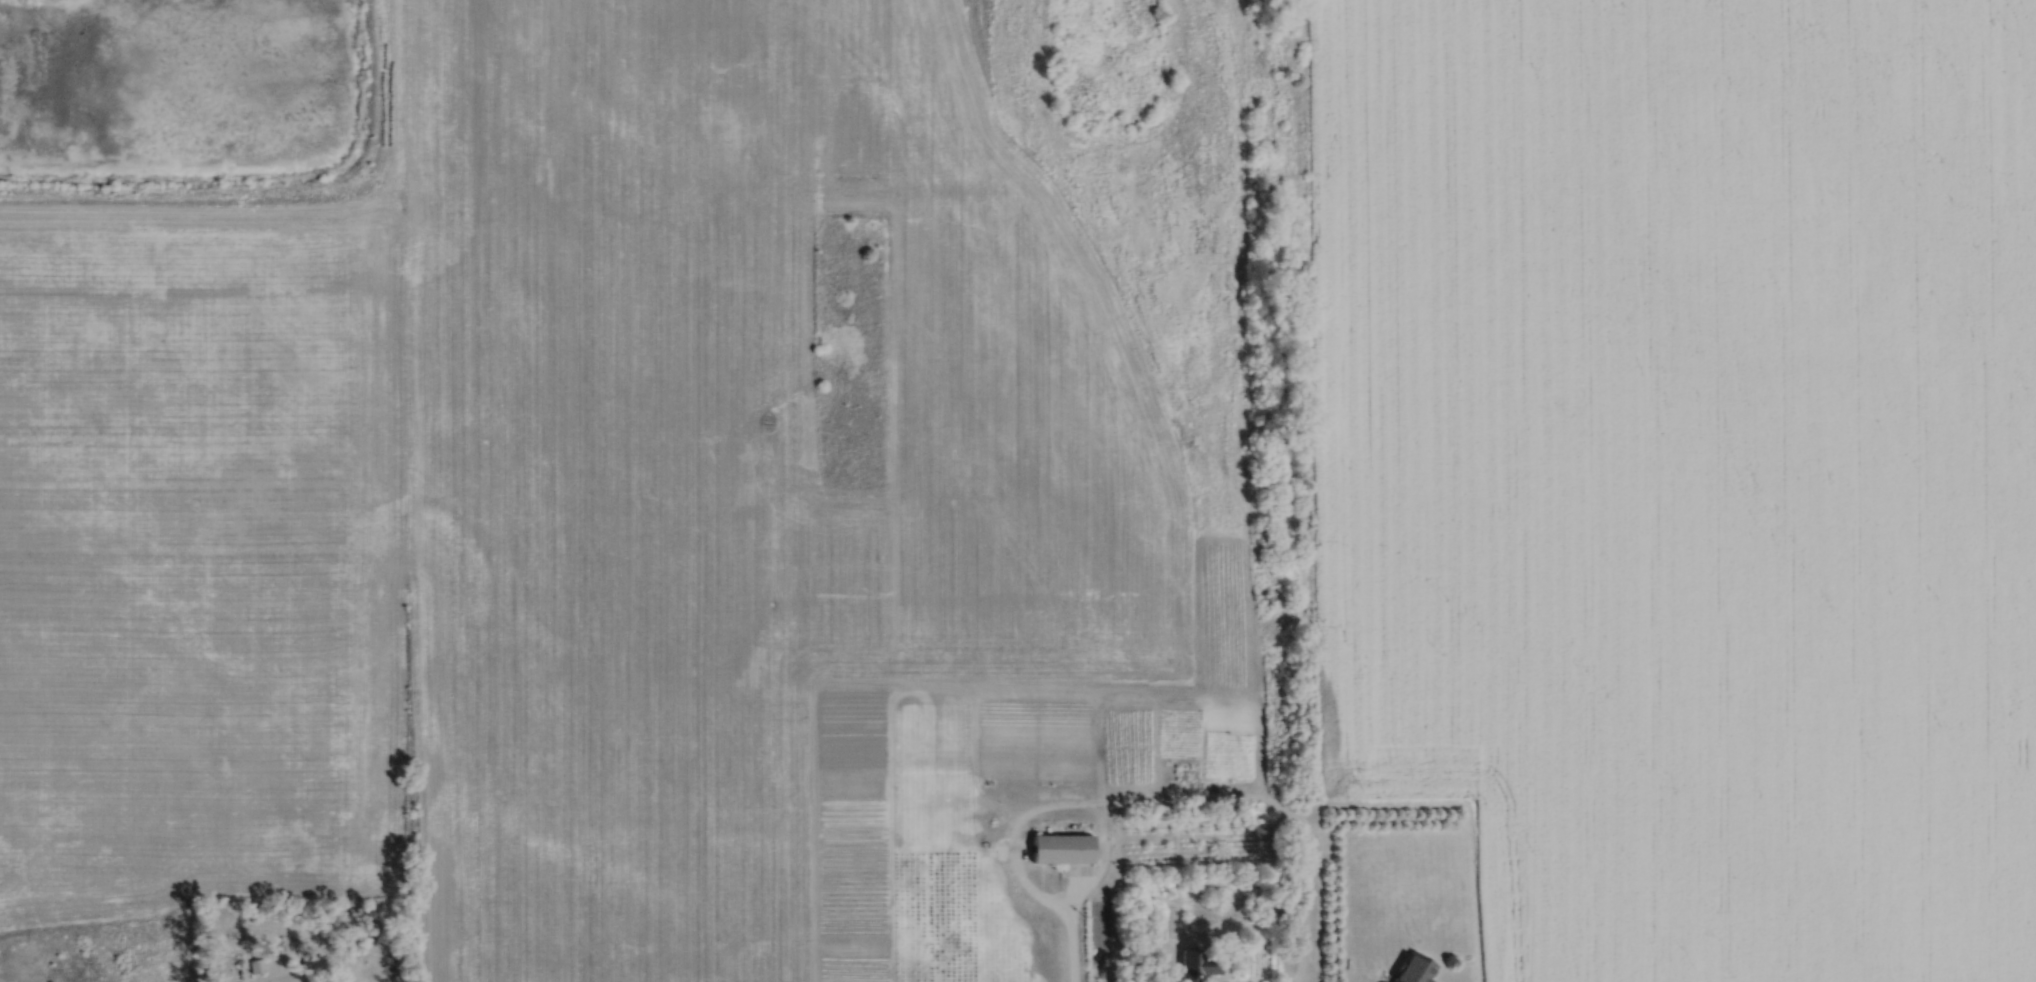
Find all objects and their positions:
road: (283, 203)
crop: (1686, 471)
road: (1249, 563)
building: (1189, 774)
road: (1275, 801)
road: (1056, 802)
building: (1063, 846)
road: (1072, 954)
building: (1199, 963)
building: (257, 964)
building: (1415, 969)
road: (291, 971)
building: (1384, 981)

